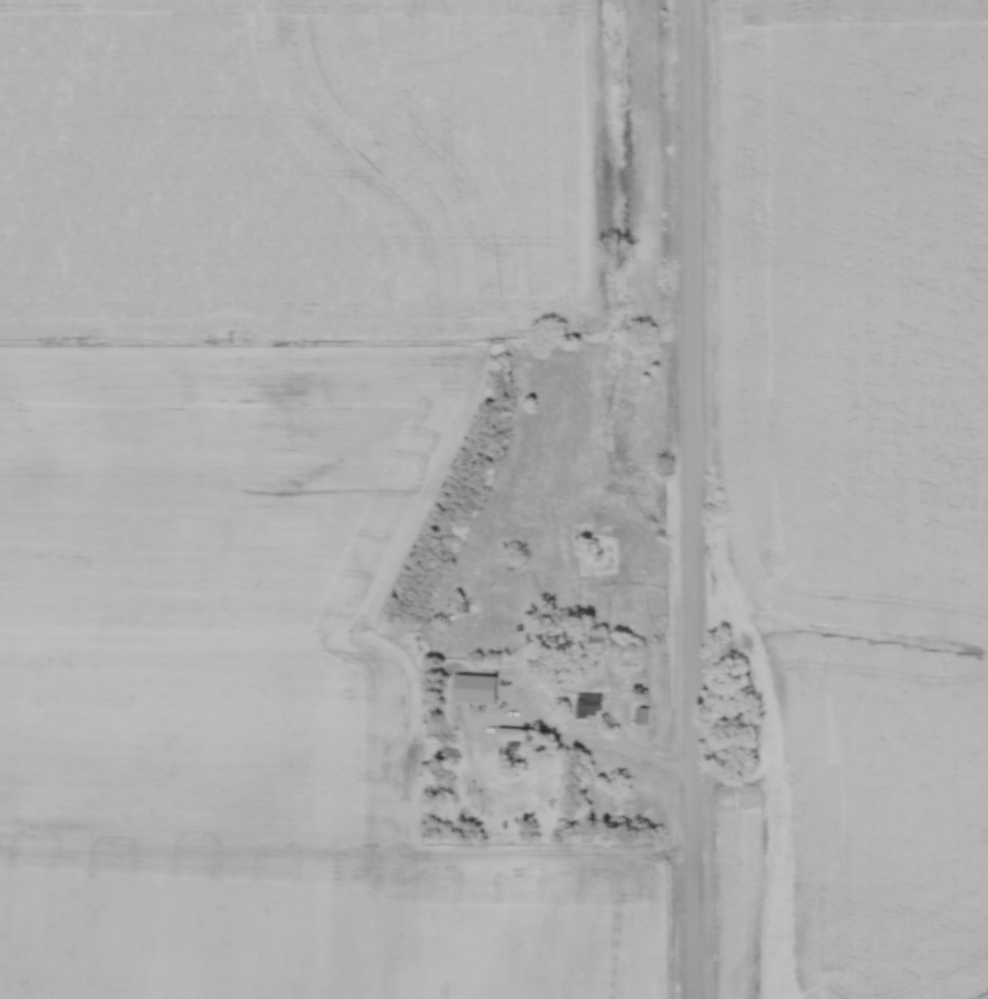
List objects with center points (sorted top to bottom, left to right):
road: (692, 499)
building: (592, 707)
building: (515, 747)
road: (635, 753)

